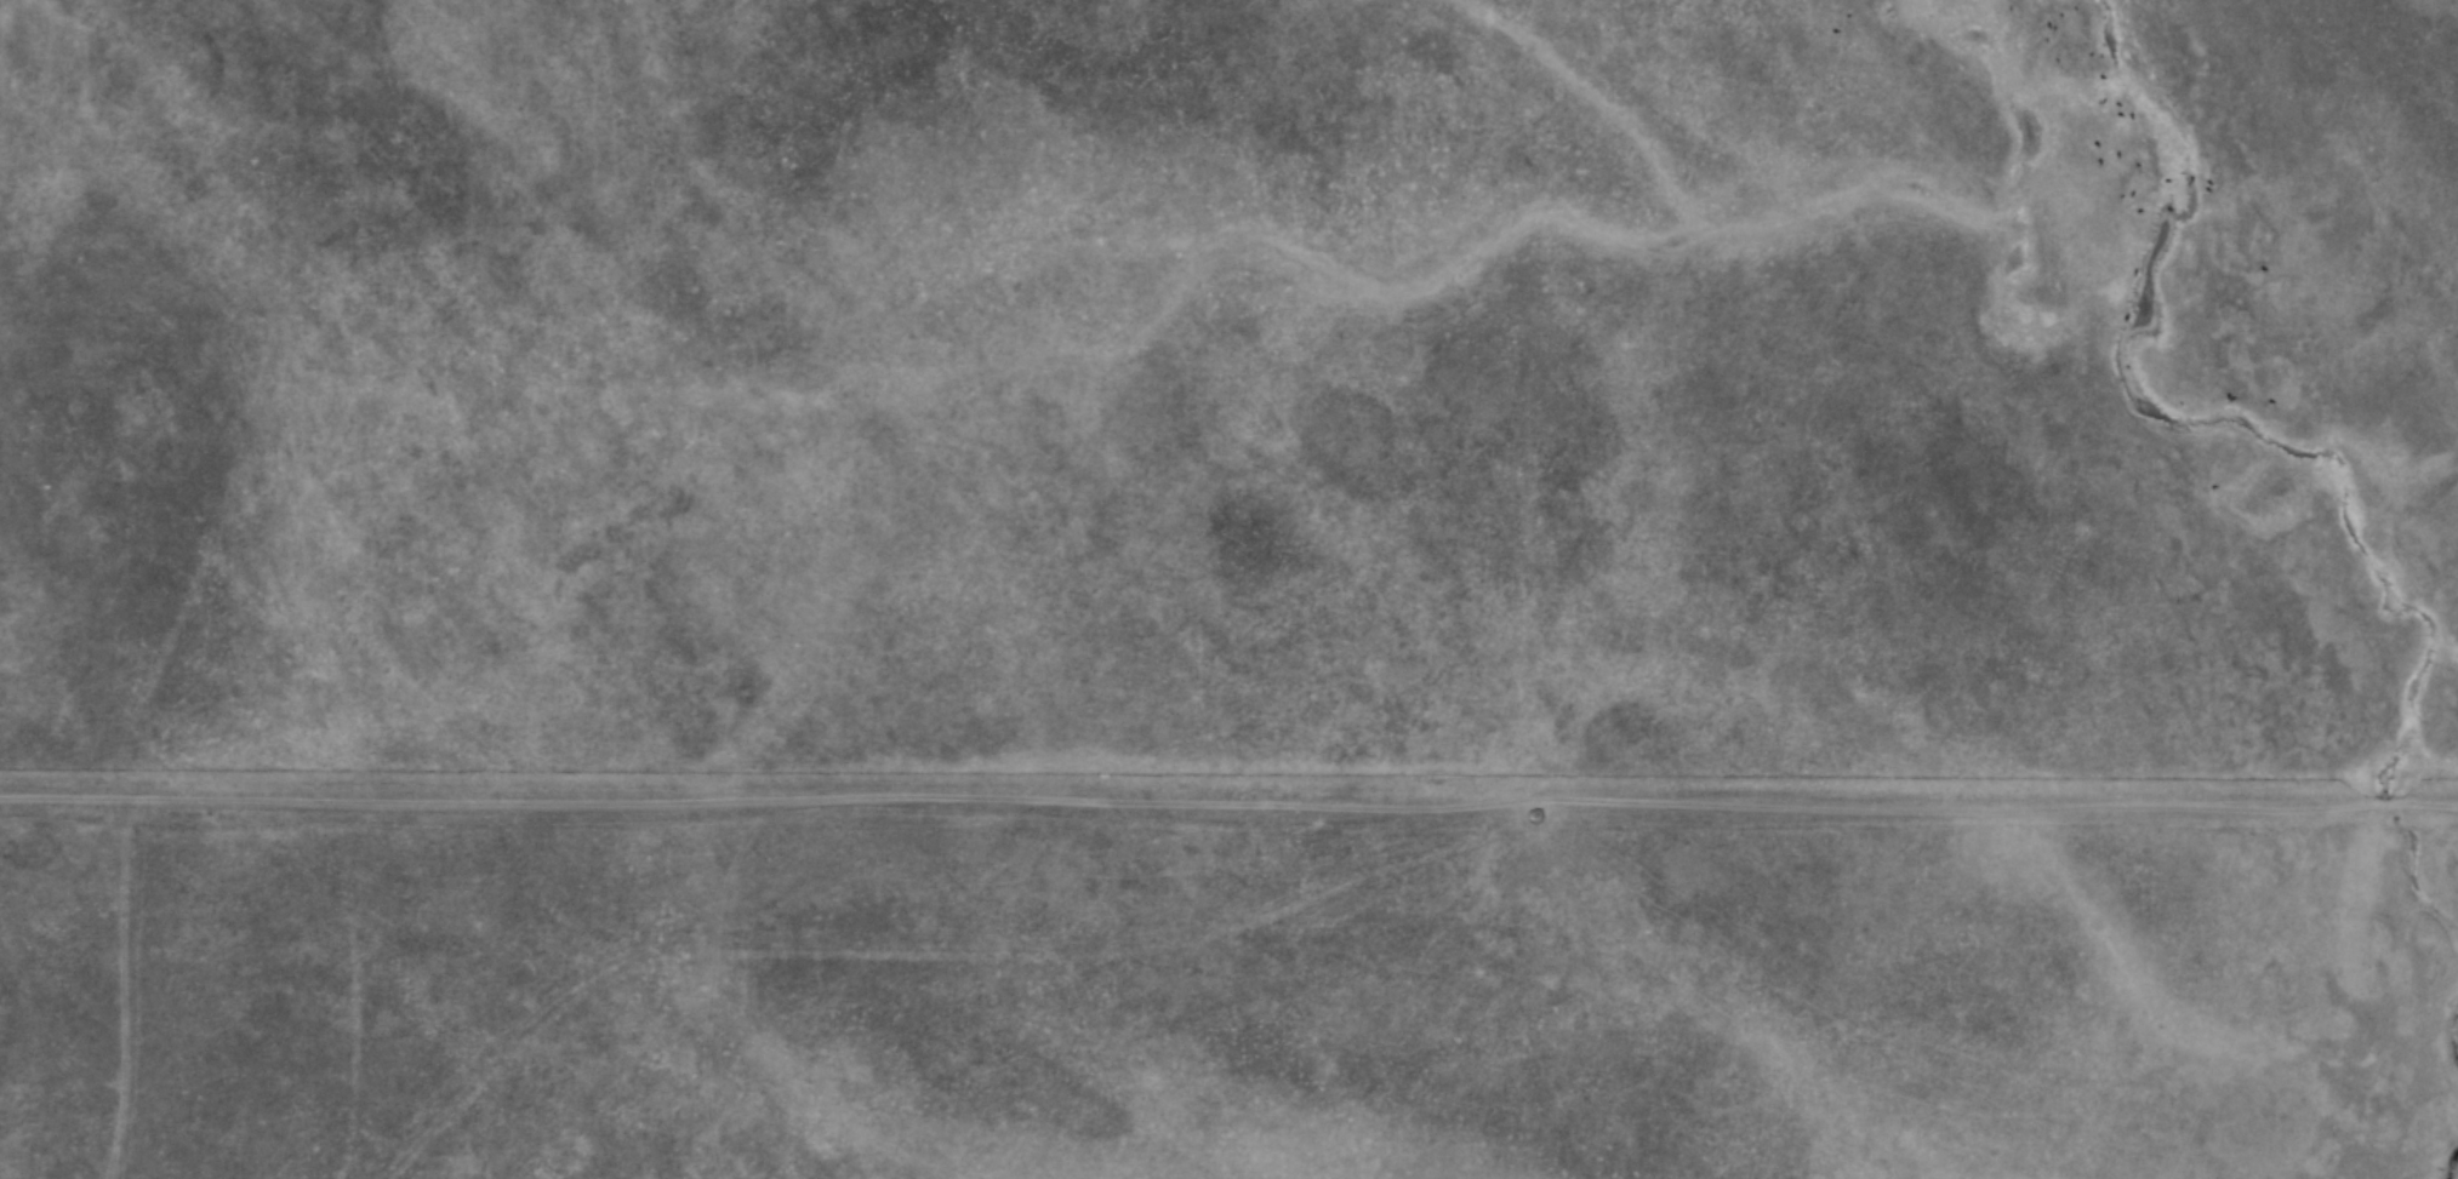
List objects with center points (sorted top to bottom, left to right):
road: (1118, 840)

